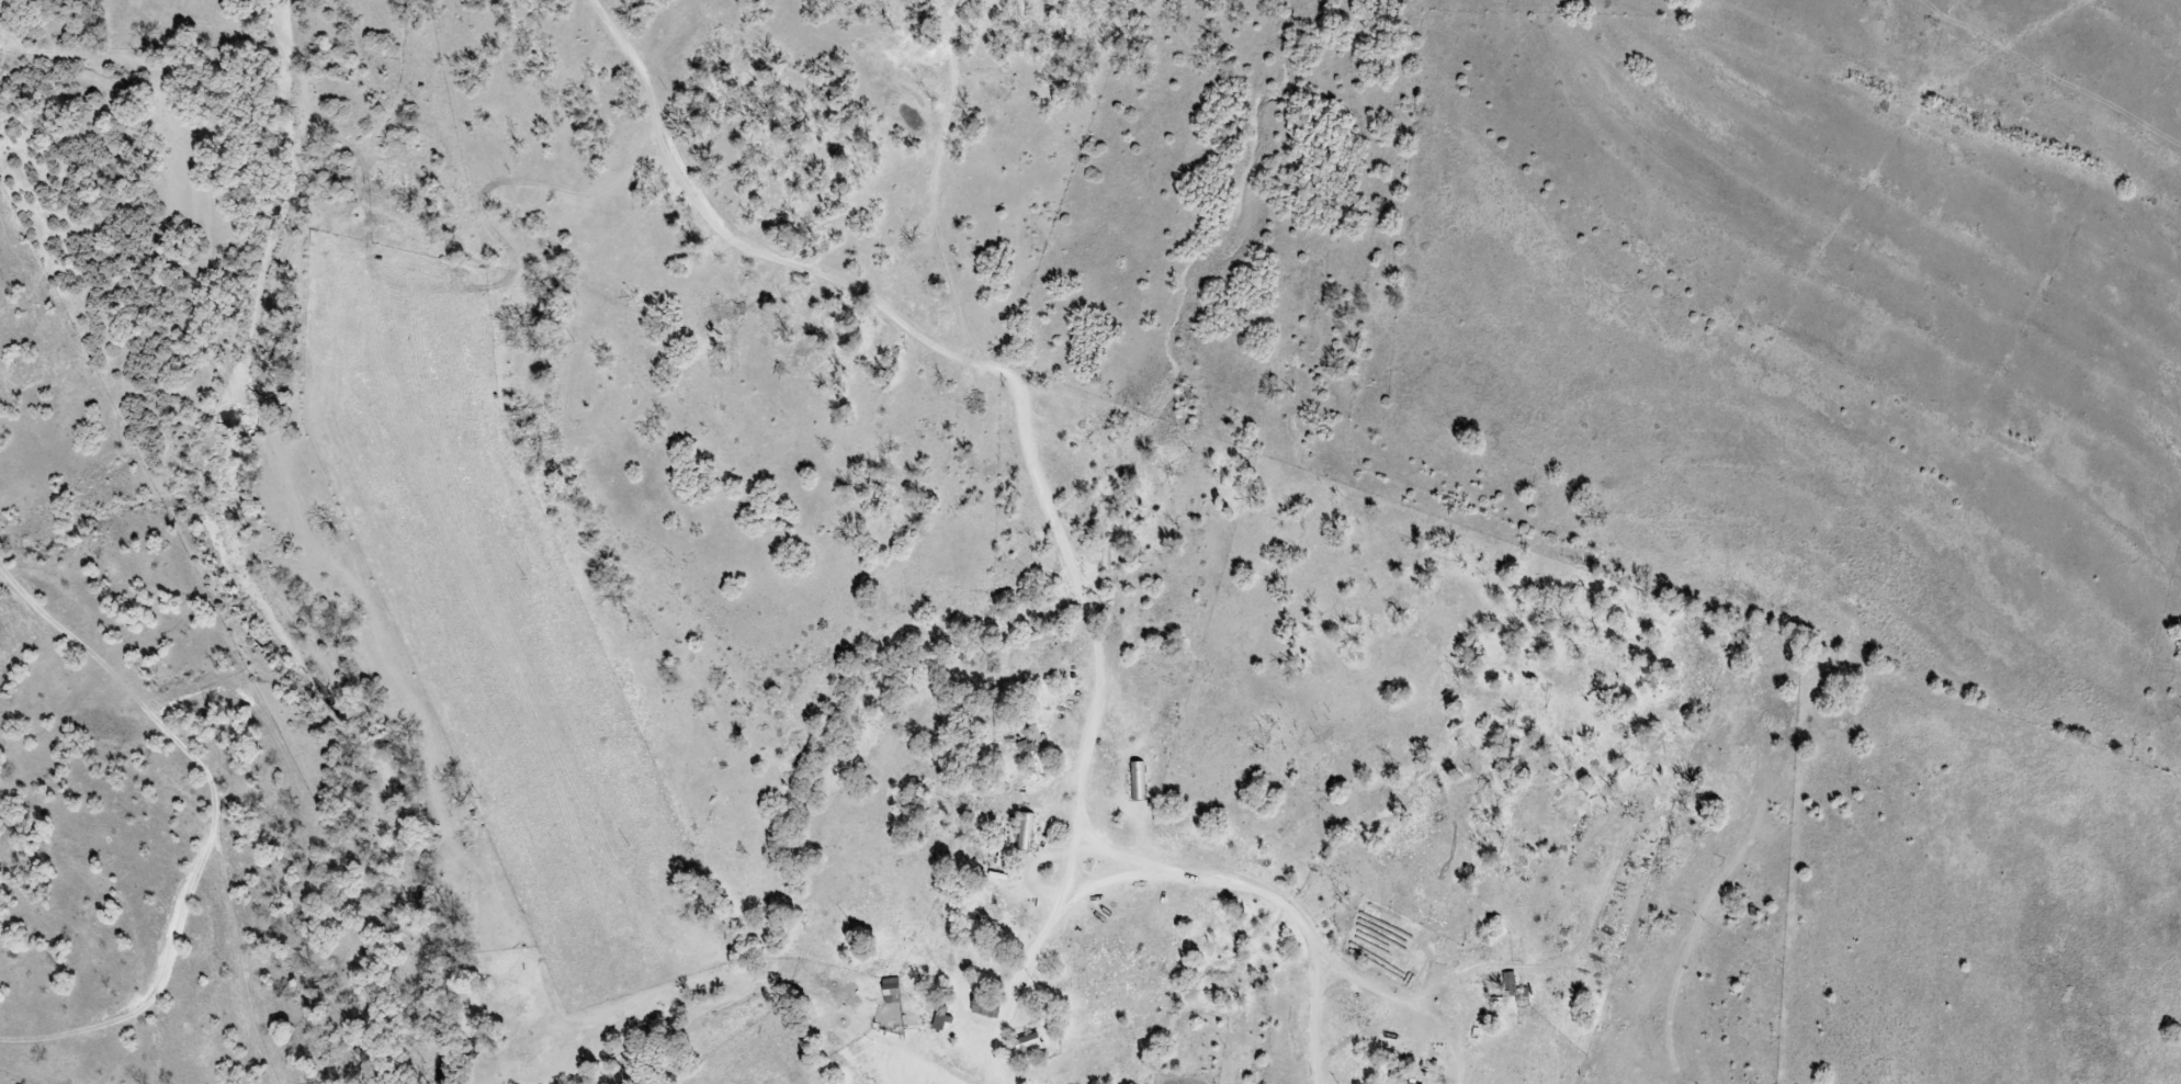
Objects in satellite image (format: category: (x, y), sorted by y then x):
road: (993, 369)
building: (1139, 780)
building: (1025, 832)
road: (1229, 883)
building: (890, 991)
building: (983, 1008)
building: (938, 1019)
road: (1004, 1025)
building: (1026, 1046)
road: (915, 1060)
road: (997, 1080)
building: (1409, 1083)

